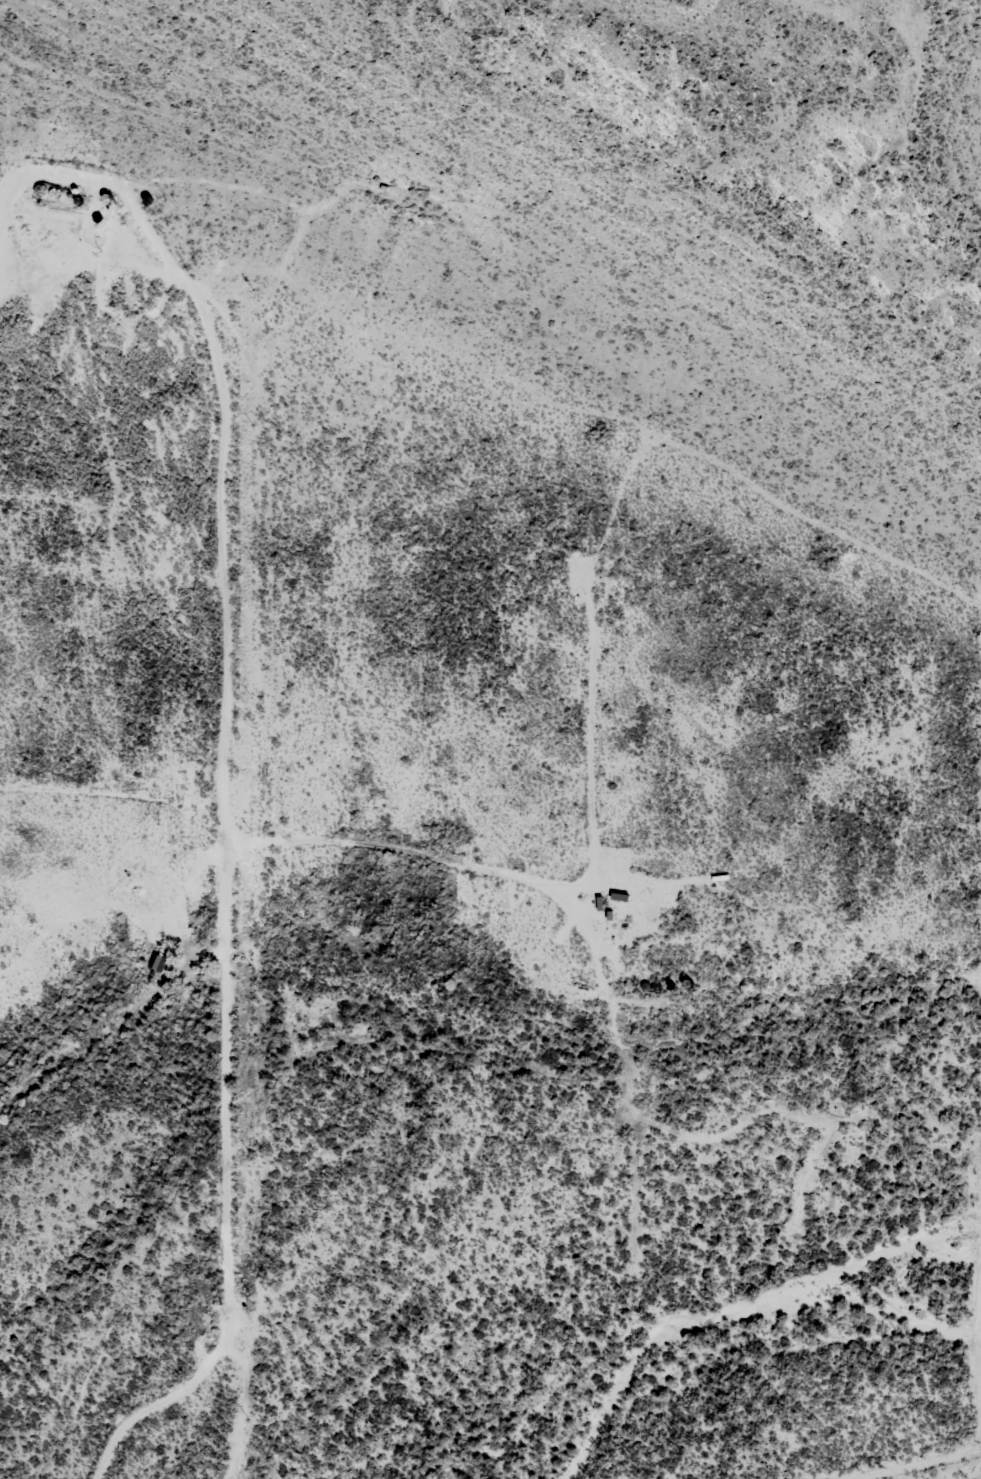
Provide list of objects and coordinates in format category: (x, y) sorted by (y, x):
building: (156, 961)

